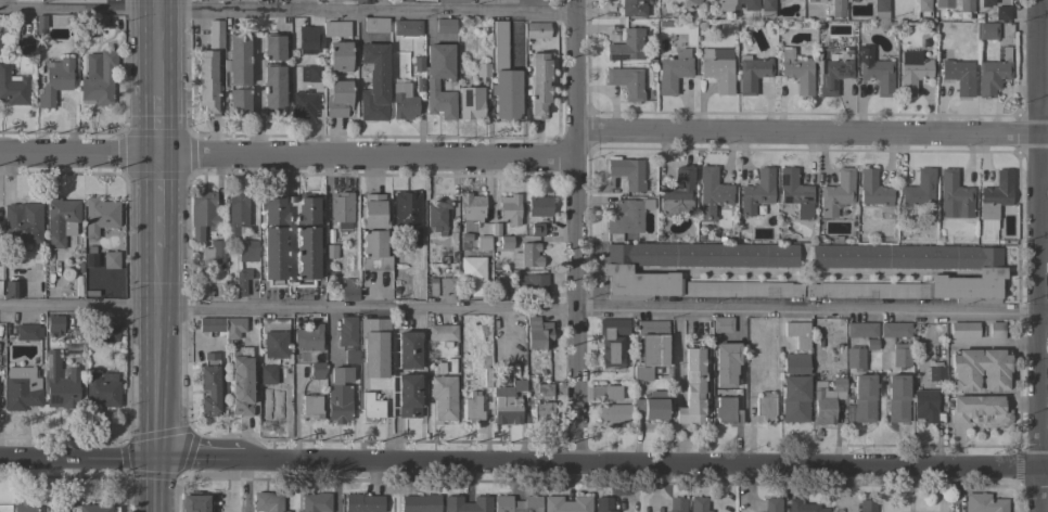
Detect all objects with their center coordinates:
building: (27, 0)
building: (213, 0)
building: (453, 0)
building: (362, 1)
building: (531, 1)
building: (815, 1)
building: (693, 2)
building: (943, 3)
building: (985, 3)
building: (737, 4)
building: (966, 5)
building: (923, 7)
building: (632, 8)
building: (767, 9)
building: (838, 9)
road: (289, 10)
building: (880, 11)
road: (1044, 11)
building: (1002, 13)
building: (98, 20)
building: (40, 24)
building: (375, 24)
building: (444, 26)
building: (407, 27)
building: (336, 29)
building: (536, 30)
building: (987, 31)
building: (308, 39)
building: (626, 46)
building: (23, 47)
building: (273, 47)
building: (340, 56)
building: (239, 60)
building: (418, 64)
building: (482, 69)
building: (209, 71)
building: (716, 72)
building: (796, 72)
building: (833, 72)
building: (911, 72)
building: (310, 74)
building: (672, 74)
building: (752, 74)
building: (878, 75)
building: (959, 76)
building: (503, 77)
building: (992, 77)
building: (54, 81)
building: (100, 81)
building: (626, 81)
building: (374, 82)
building: (538, 85)
building: (419, 86)
building: (431, 86)
building: (13, 89)
building: (273, 89)
building: (338, 99)
building: (239, 102)
building: (402, 102)
road: (256, 103)
building: (471, 103)
building: (304, 104)
road: (813, 137)
road: (287, 161)
building: (627, 172)
building: (873, 189)
building: (919, 189)
building: (756, 191)
building: (711, 192)
building: (794, 192)
building: (677, 193)
building: (836, 193)
building: (955, 193)
building: (995, 194)
building: (538, 205)
building: (307, 207)
building: (341, 207)
building: (471, 207)
building: (510, 209)
building: (373, 212)
building: (202, 214)
building: (100, 215)
building: (437, 215)
building: (235, 216)
building: (626, 217)
building: (407, 218)
building: (61, 220)
building: (22, 223)
building: (537, 229)
building: (495, 230)
road: (577, 234)
building: (506, 242)
building: (482, 243)
building: (461, 244)
building: (89, 249)
building: (247, 251)
building: (374, 251)
building: (330, 252)
building: (274, 253)
building: (306, 253)
building: (214, 254)
road: (152, 255)
building: (526, 255)
road: (1041, 256)
building: (111, 259)
building: (442, 260)
building: (79, 268)
building: (616, 269)
building: (0, 271)
building: (991, 276)
building: (241, 281)
building: (399, 283)
building: (533, 284)
building: (447, 285)
building: (77, 286)
building: (432, 287)
building: (11, 290)
building: (497, 290)
building: (348, 291)
road: (522, 308)
road: (1046, 322)
building: (54, 323)
building: (212, 324)
building: (721, 324)
building: (233, 327)
building: (861, 330)
building: (895, 330)
building: (963, 330)
building: (996, 330)
building: (346, 331)
building: (27, 332)
building: (107, 333)
building: (442, 333)
building: (537, 333)
building: (798, 333)
building: (273, 337)
building: (308, 337)
building: (612, 342)
building: (446, 345)
building: (870, 345)
building: (651, 348)
road: (676, 348)
building: (408, 350)
building: (900, 355)
building: (350, 357)
building: (855, 358)
building: (726, 363)
building: (980, 369)
building: (317, 370)
building: (384, 373)
building: (936, 373)
building: (267, 375)
building: (103, 376)
building: (528, 377)
building: (241, 382)
building: (60, 384)
building: (208, 384)
building: (308, 386)
building: (21, 388)
building: (692, 388)
building: (794, 388)
building: (544, 389)
building: (101, 391)
building: (612, 393)
building: (338, 395)
building: (408, 396)
building: (443, 397)
building: (896, 397)
building: (864, 398)
road: (394, 399)
building: (827, 400)
building: (508, 402)
building: (271, 404)
building: (651, 405)
building: (371, 406)
building: (926, 406)
building: (311, 407)
building: (472, 407)
building: (764, 408)
building: (727, 410)
building: (979, 410)
building: (542, 413)
building: (614, 414)
road: (77, 464)
traffic signals: (154, 465)
road: (200, 465)
road: (647, 470)
building: (192, 502)
building: (267, 502)
building: (315, 502)
building: (362, 503)
building: (420, 503)
building: (516, 503)
building: (983, 503)
building: (465, 504)
building: (566, 504)
building: (603, 504)
building: (677, 504)
building: (698, 504)
building: (771, 504)
building: (867, 505)
building: (24, 507)
building: (804, 507)
building: (93, 508)
building: (296, 511)

